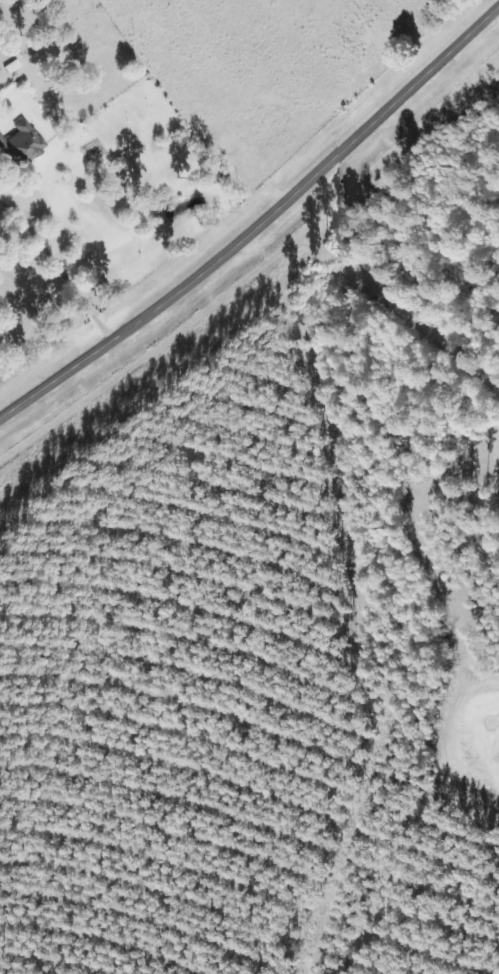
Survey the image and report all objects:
building: (22, 145)
road: (258, 226)

